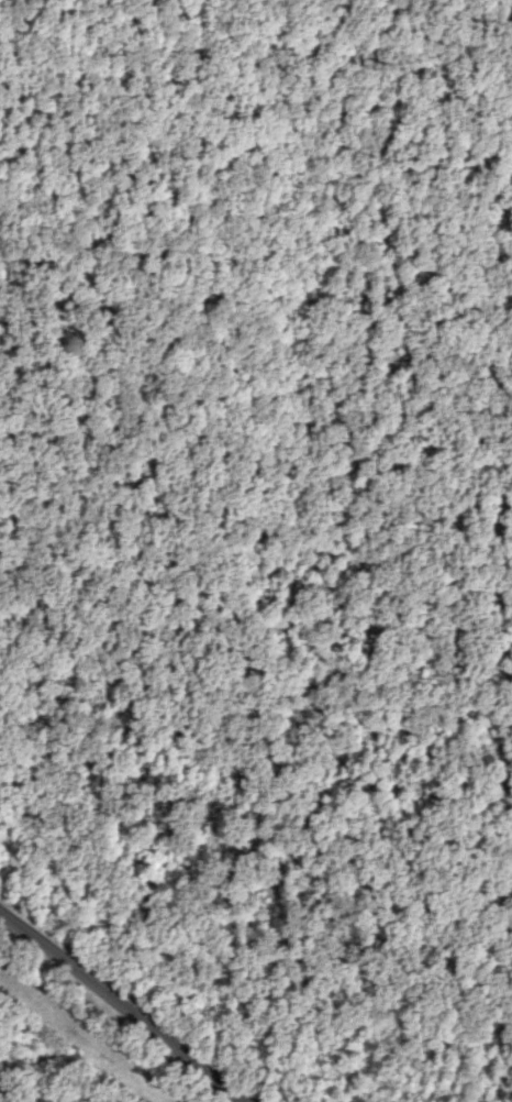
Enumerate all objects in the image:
road: (280, 348)
park: (115, 544)
road: (387, 665)
road: (127, 1002)

